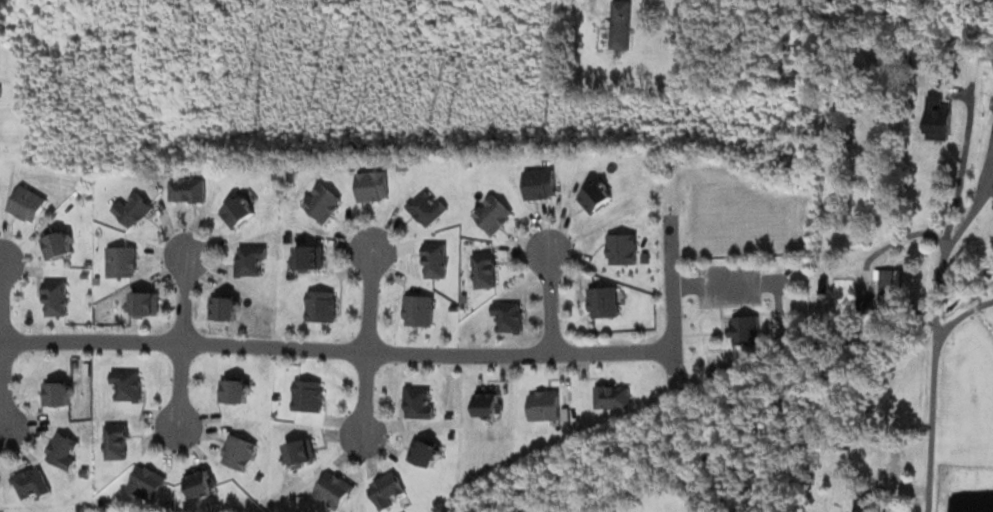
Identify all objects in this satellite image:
road: (577, 23)
building: (621, 25)
building: (914, 61)
building: (938, 117)
building: (471, 166)
building: (539, 184)
building: (371, 186)
building: (187, 190)
building: (596, 198)
building: (28, 203)
building: (322, 203)
building: (132, 207)
building: (426, 207)
building: (237, 211)
building: (492, 214)
building: (60, 244)
building: (623, 249)
building: (308, 258)
building: (250, 259)
building: (435, 260)
building: (121, 261)
building: (87, 263)
building: (484, 269)
building: (82, 274)
building: (647, 280)
building: (821, 282)
road: (726, 284)
road: (670, 295)
building: (879, 295)
building: (58, 297)
road: (182, 299)
road: (366, 301)
road: (546, 301)
building: (605, 302)
road: (933, 302)
building: (148, 303)
building: (320, 306)
building: (226, 307)
building: (417, 309)
building: (509, 314)
building: (745, 329)
road: (335, 349)
building: (84, 381)
building: (129, 382)
road: (178, 384)
building: (239, 390)
road: (361, 392)
building: (60, 393)
building: (309, 394)
road: (1, 395)
building: (612, 395)
building: (418, 402)
building: (490, 402)
building: (546, 407)
building: (446, 415)
building: (117, 439)
building: (241, 452)
building: (426, 453)
building: (64, 454)
building: (302, 454)
building: (894, 461)
building: (258, 477)
building: (202, 481)
building: (0, 482)
building: (32, 482)
building: (147, 482)
building: (333, 489)
building: (386, 489)
building: (871, 506)

